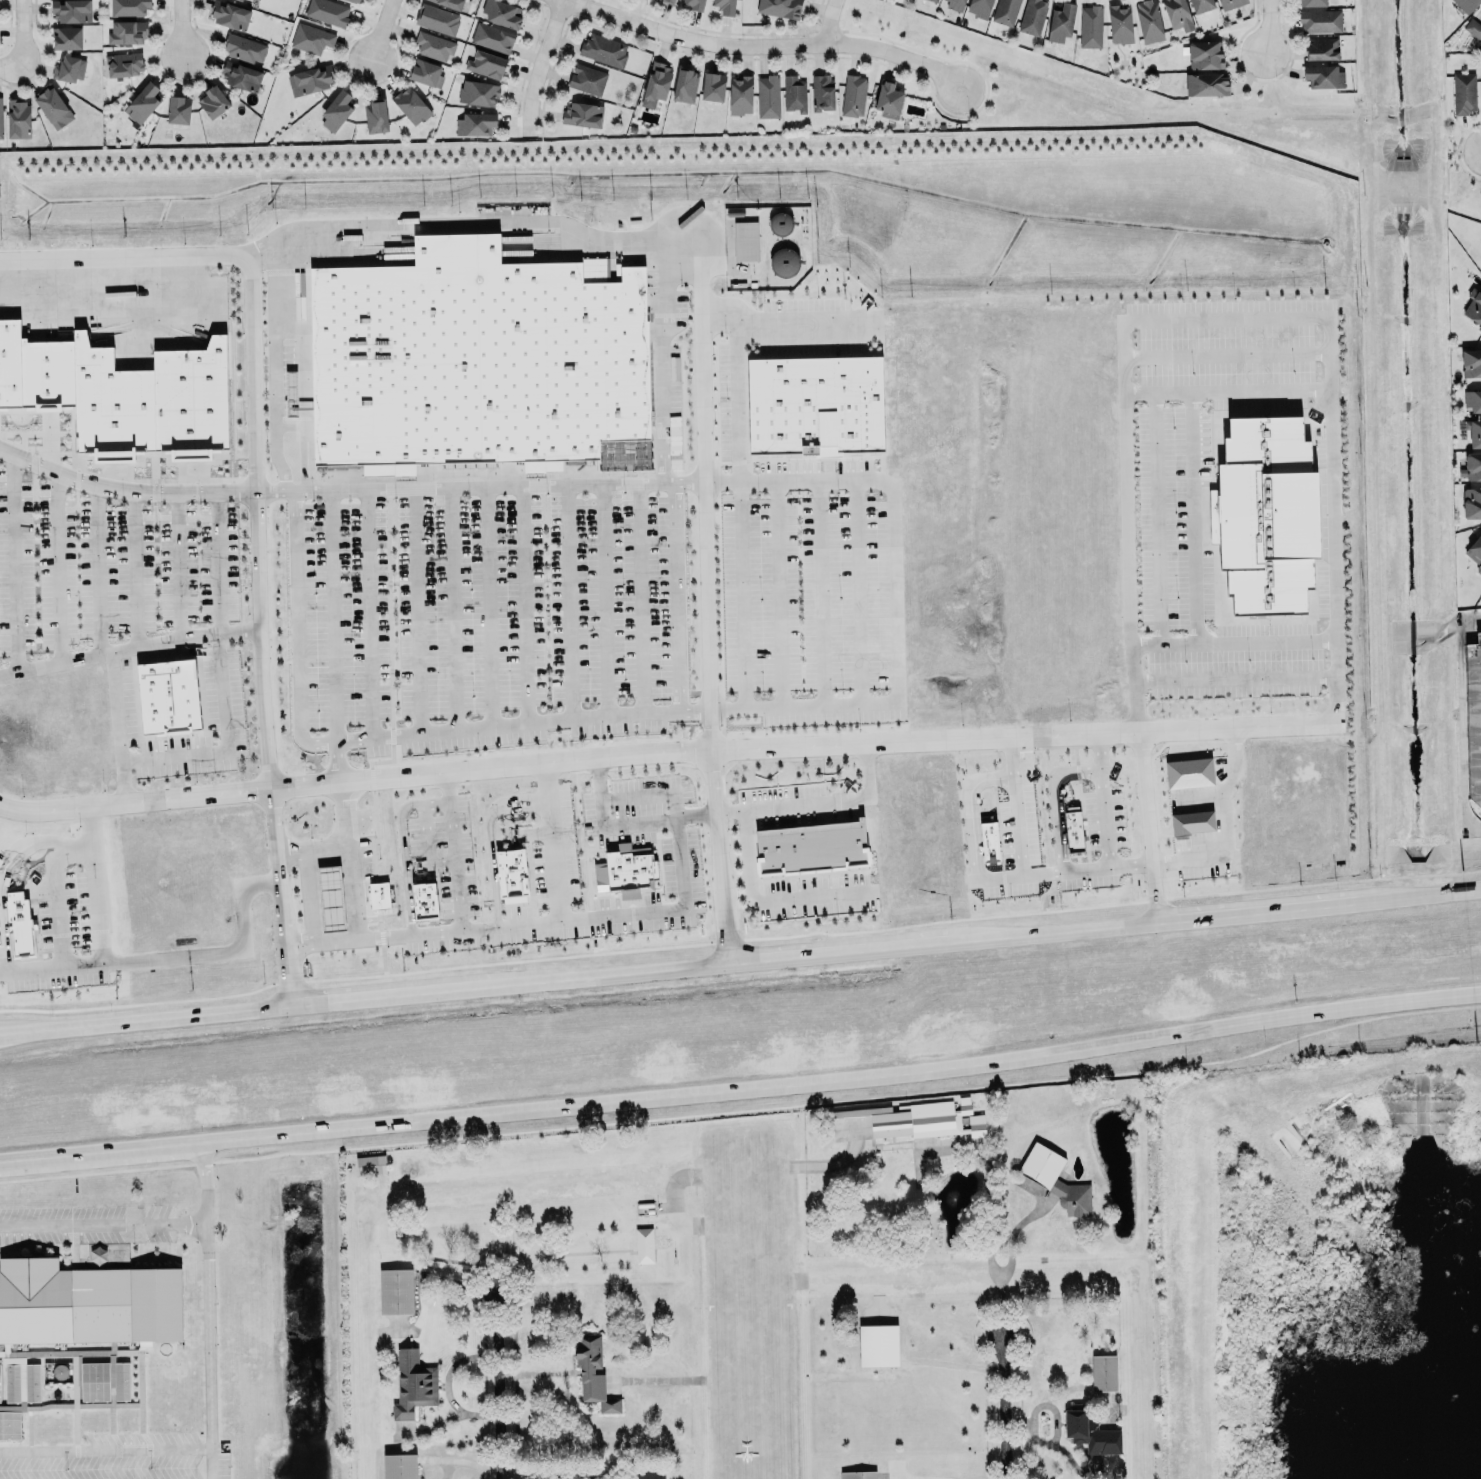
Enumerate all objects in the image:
building: (240, 0)
building: (246, 0)
building: (934, 0)
building: (355, 1)
building: (668, 1)
building: (1312, 2)
building: (693, 3)
building: (449, 4)
building: (1230, 4)
building: (955, 5)
building: (1202, 5)
building: (1466, 5)
building: (726, 6)
building: (129, 7)
building: (779, 7)
building: (979, 7)
building: (71, 10)
building: (1005, 11)
building: (327, 12)
building: (501, 13)
building: (229, 14)
building: (1178, 14)
building: (1032, 15)
building: (437, 19)
building: (1060, 20)
building: (1148, 20)
building: (1320, 20)
road: (831, 22)
building: (1120, 24)
road: (1268, 25)
building: (1090, 26)
building: (1473, 27)
road: (183, 28)
building: (128, 31)
road: (383, 31)
road: (22, 33)
building: (68, 37)
building: (492, 37)
building: (311, 38)
building: (433, 45)
road: (764, 46)
building: (243, 48)
building: (1321, 48)
building: (604, 50)
building: (1205, 54)
building: (124, 63)
building: (486, 64)
road: (11, 67)
road: (539, 67)
building: (69, 68)
building: (426, 72)
building: (240, 75)
building: (1323, 75)
building: (313, 78)
building: (587, 79)
building: (656, 80)
building: (1206, 83)
building: (684, 84)
building: (712, 86)
building: (822, 92)
building: (478, 93)
building: (794, 93)
building: (1463, 93)
building: (740, 94)
building: (767, 95)
building: (853, 95)
building: (888, 98)
building: (213, 101)
building: (143, 102)
building: (411, 105)
building: (53, 107)
building: (178, 109)
building: (336, 110)
building: (583, 115)
building: (375, 116)
building: (1, 117)
building: (19, 118)
building: (475, 124)
road: (563, 224)
building: (745, 240)
building: (783, 261)
building: (1473, 306)
road: (777, 324)
road: (701, 347)
building: (475, 360)
building: (10, 361)
building: (1470, 361)
road: (273, 364)
building: (46, 374)
building: (290, 393)
building: (190, 396)
building: (1473, 400)
building: (110, 401)
building: (815, 402)
building: (1474, 432)
building: (1473, 466)
road: (588, 481)
building: (1471, 504)
building: (1267, 515)
road: (248, 530)
building: (1473, 548)
road: (211, 560)
road: (6, 561)
road: (169, 562)
road: (51, 564)
road: (127, 564)
road: (91, 566)
road: (894, 599)
road: (1127, 639)
road: (124, 642)
road: (1256, 678)
road: (289, 692)
building: (167, 696)
building: (1473, 715)
road: (1463, 719)
road: (115, 721)
road: (456, 726)
road: (223, 742)
road: (679, 750)
road: (333, 760)
building: (1189, 772)
road: (811, 801)
road: (1102, 816)
road: (617, 821)
building: (1192, 821)
road: (1018, 822)
road: (1053, 825)
road: (1219, 826)
road: (971, 829)
building: (1073, 830)
road: (37, 841)
road: (545, 841)
building: (989, 841)
road: (334, 845)
building: (812, 846)
road: (451, 849)
building: (629, 869)
building: (511, 872)
road: (92, 882)
road: (351, 888)
road: (308, 894)
building: (378, 894)
road: (1422, 895)
road: (55, 896)
building: (330, 897)
building: (424, 900)
road: (762, 901)
road: (1256, 910)
road: (519, 921)
road: (1140, 921)
building: (18, 924)
road: (2, 955)
road: (161, 959)
road: (570, 975)
road: (6, 1031)
road: (1121, 1040)
railway: (740, 1094)
road: (380, 1121)
building: (976, 1125)
building: (370, 1164)
building: (1055, 1179)
airport taxiway: (414, 1193)
road: (989, 1215)
parking lot: (88, 1223)
road: (102, 1223)
road: (1012, 1233)
building: (643, 1245)
airport taxiway: (1043, 1260)
building: (395, 1290)
building: (86, 1301)
road: (206, 1308)
airport runway: (741, 1312)
building: (878, 1345)
road: (960, 1364)
building: (1103, 1372)
building: (593, 1374)
building: (94, 1380)
building: (121, 1380)
building: (32, 1382)
building: (413, 1382)
building: (12, 1383)
road: (504, 1384)
road: (444, 1385)
building: (0, 1390)
road: (1008, 1408)
building: (10, 1425)
building: (1090, 1431)
road: (105, 1449)
road: (469, 1461)
building: (399, 1466)
building: (857, 1474)
road: (552, 1475)
road: (908, 1478)

